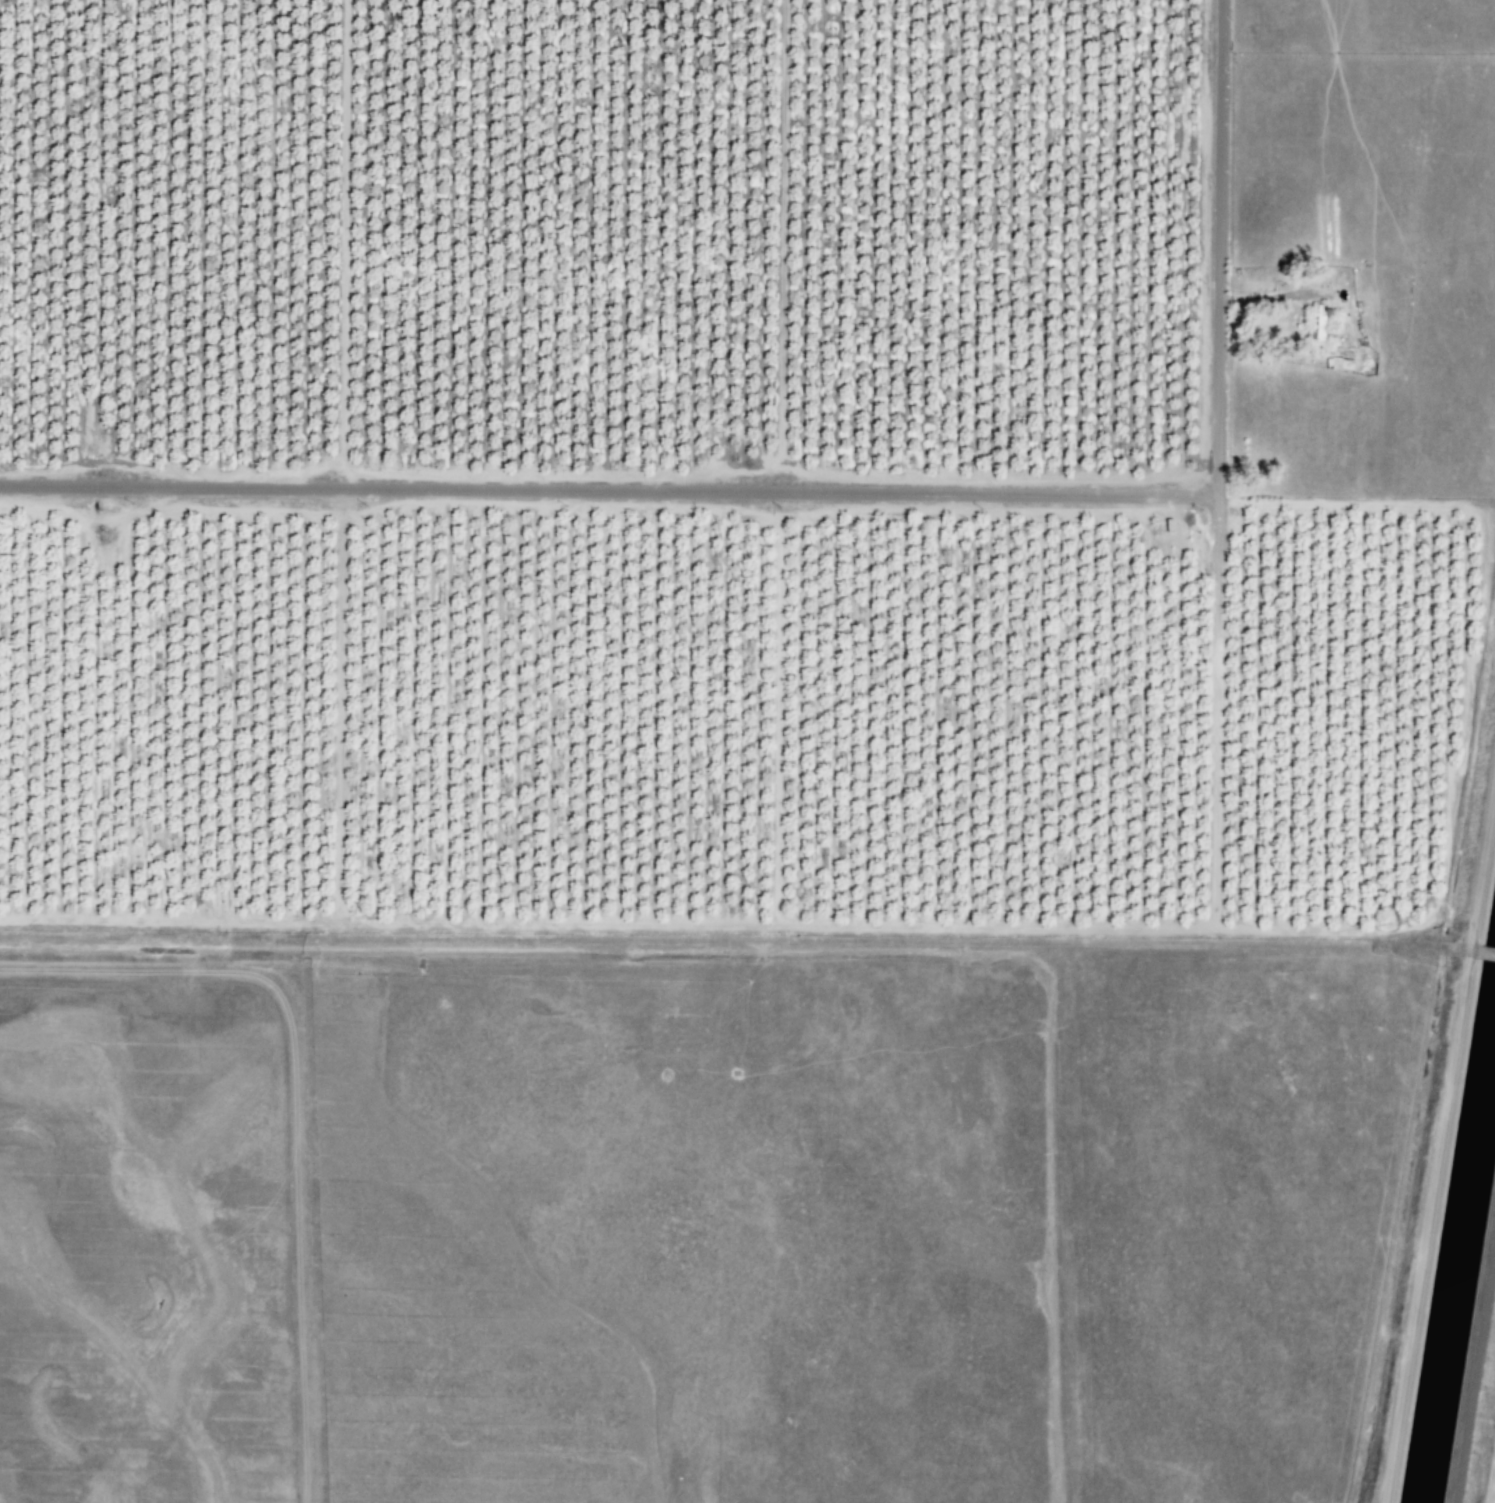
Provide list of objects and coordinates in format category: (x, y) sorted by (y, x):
road: (1215, 247)
building: (1319, 325)
building: (1337, 363)
road: (606, 488)

